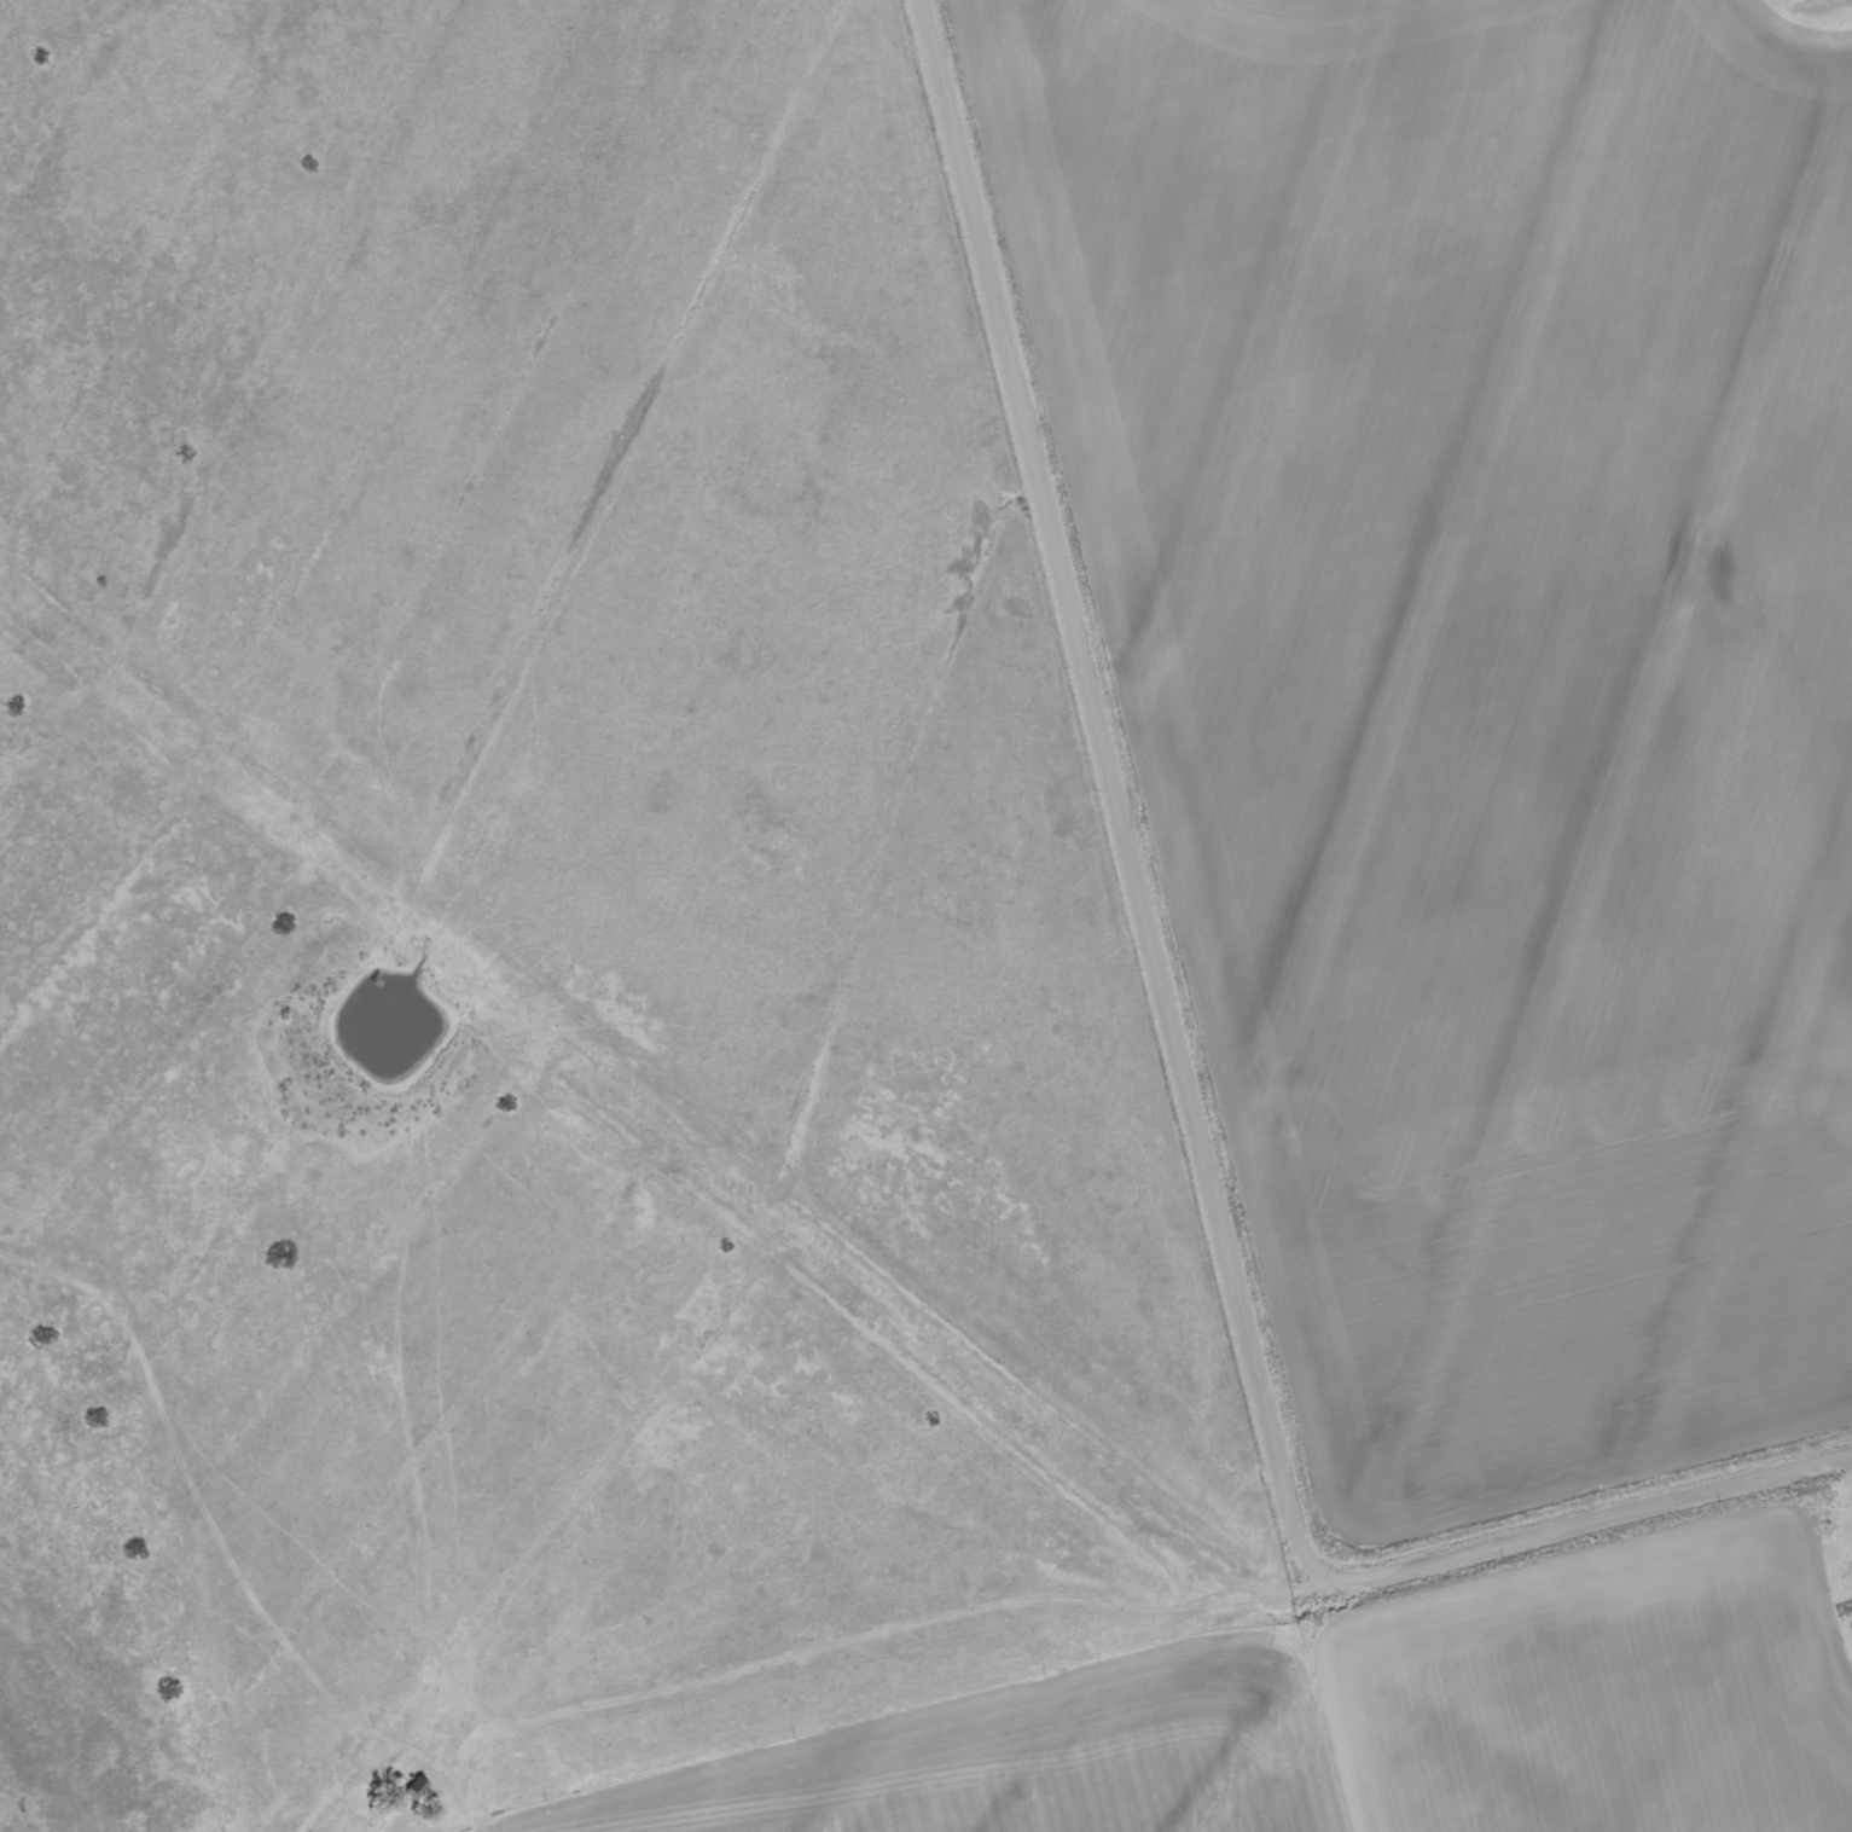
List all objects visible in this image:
road: (1114, 795)
road: (1579, 1525)
building: (416, 1791)

